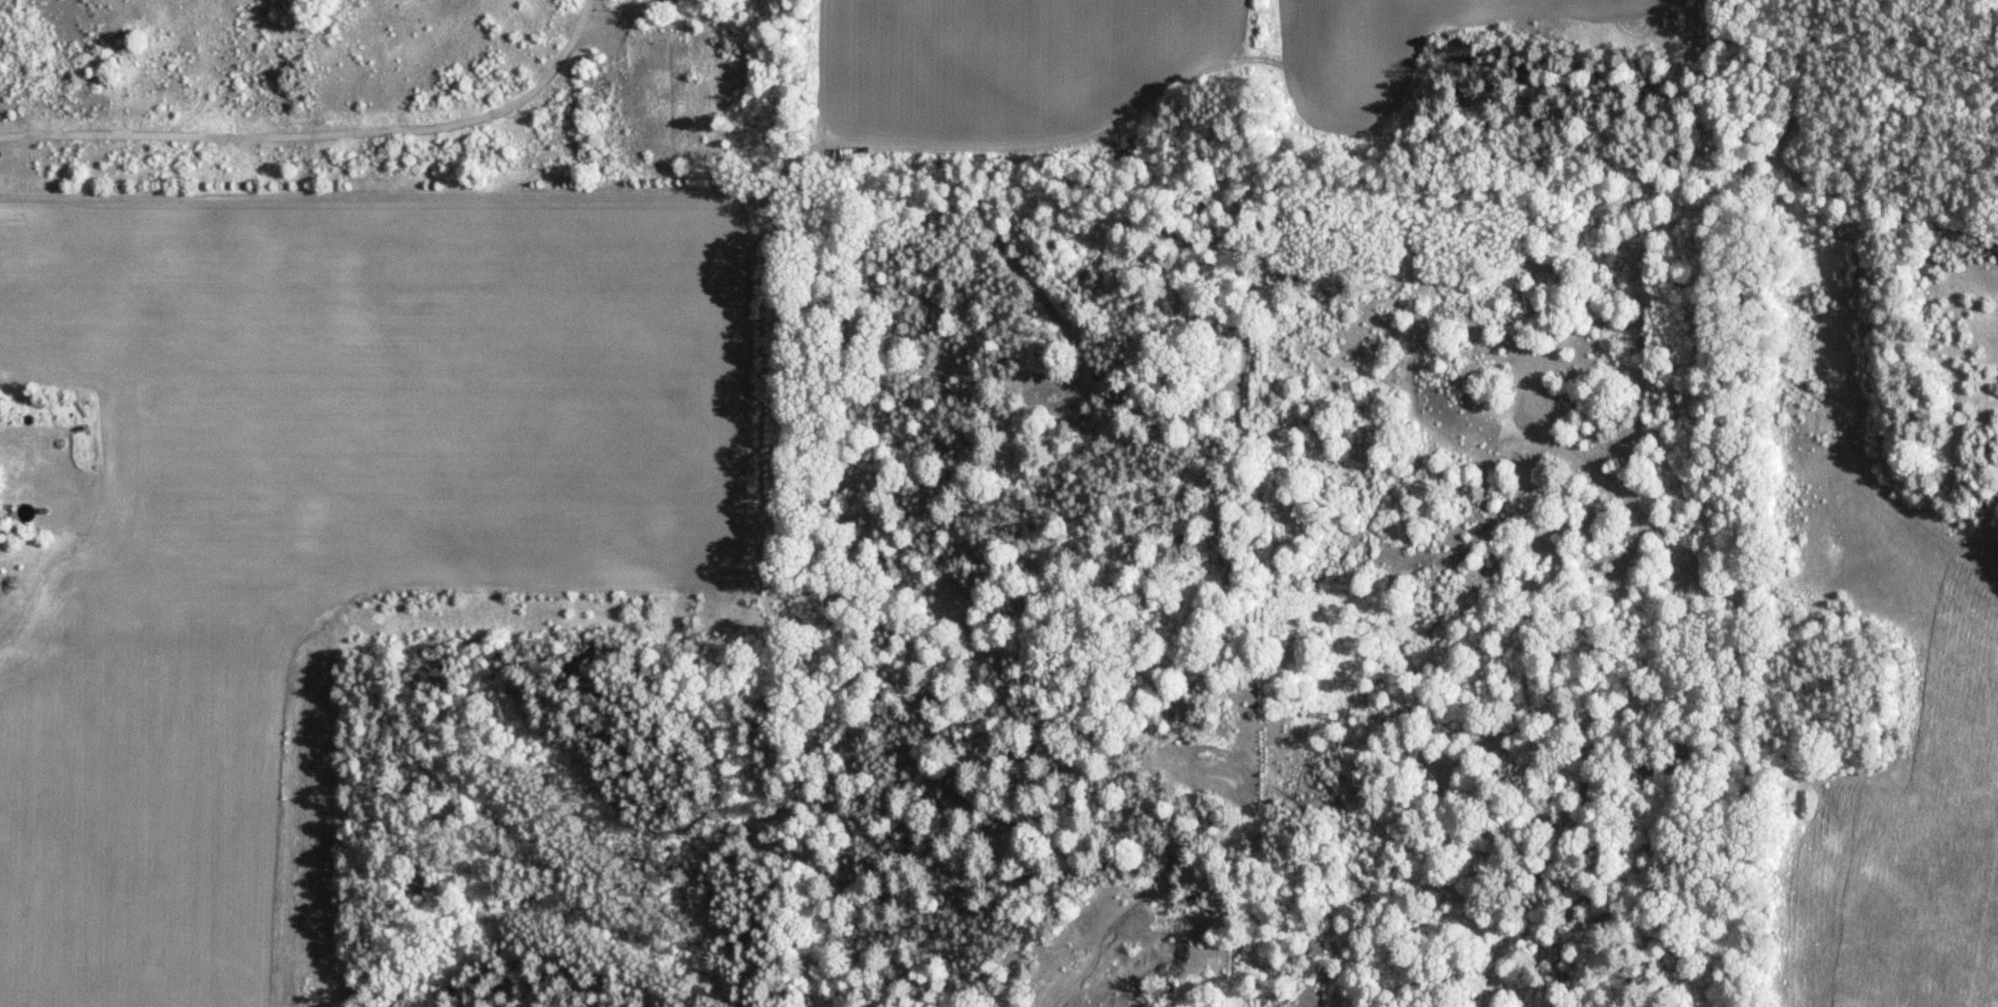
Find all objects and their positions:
road: (1793, 94)
road: (326, 132)
road: (1738, 503)

